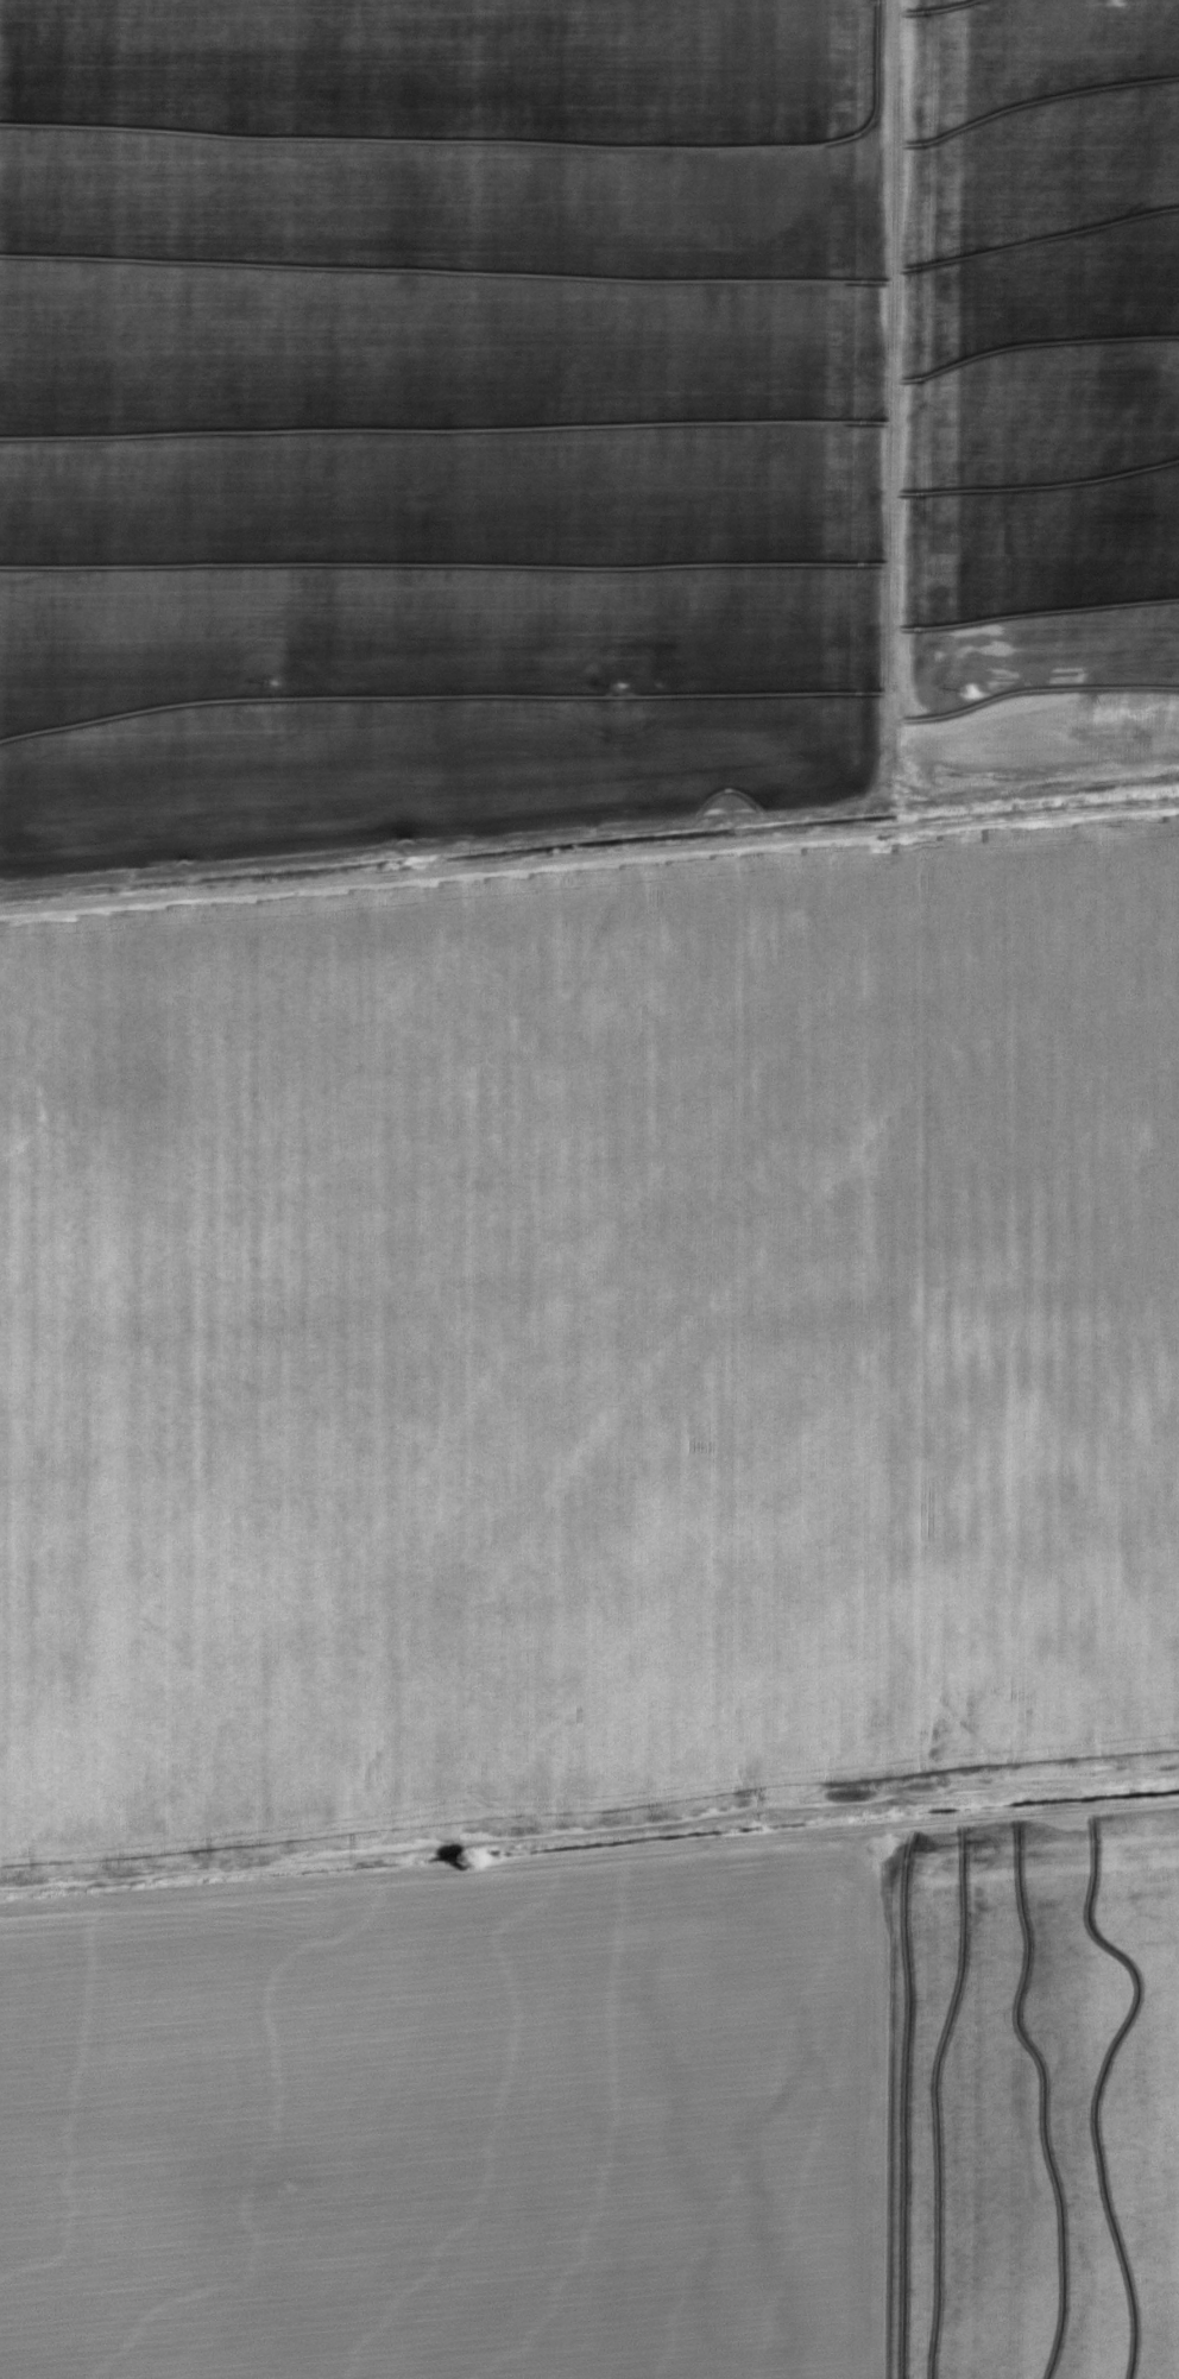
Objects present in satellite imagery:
road: (589, 1861)

